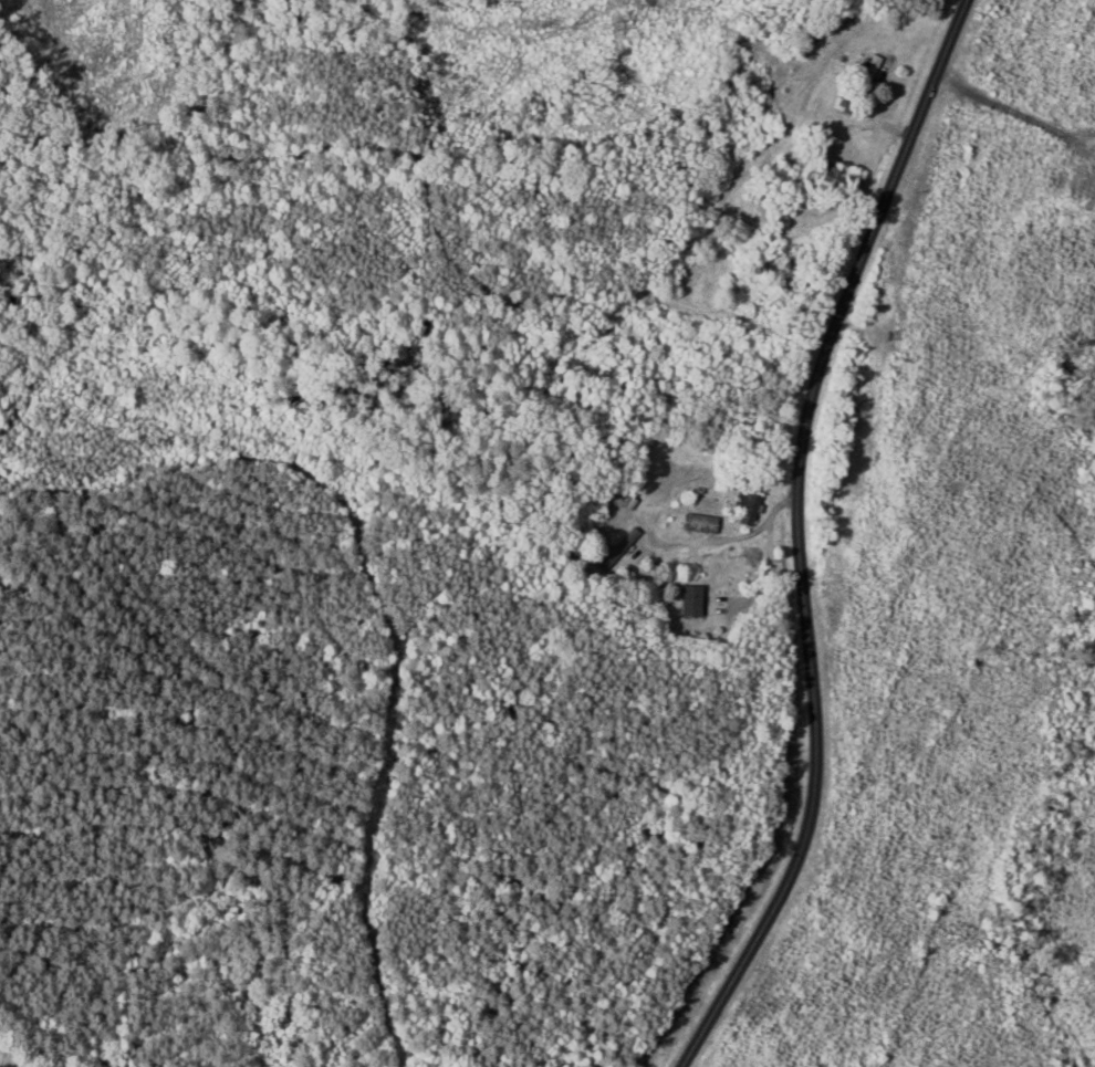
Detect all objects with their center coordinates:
building: (868, 74)
building: (750, 505)
building: (706, 525)
road: (801, 535)
building: (620, 551)
building: (696, 602)

